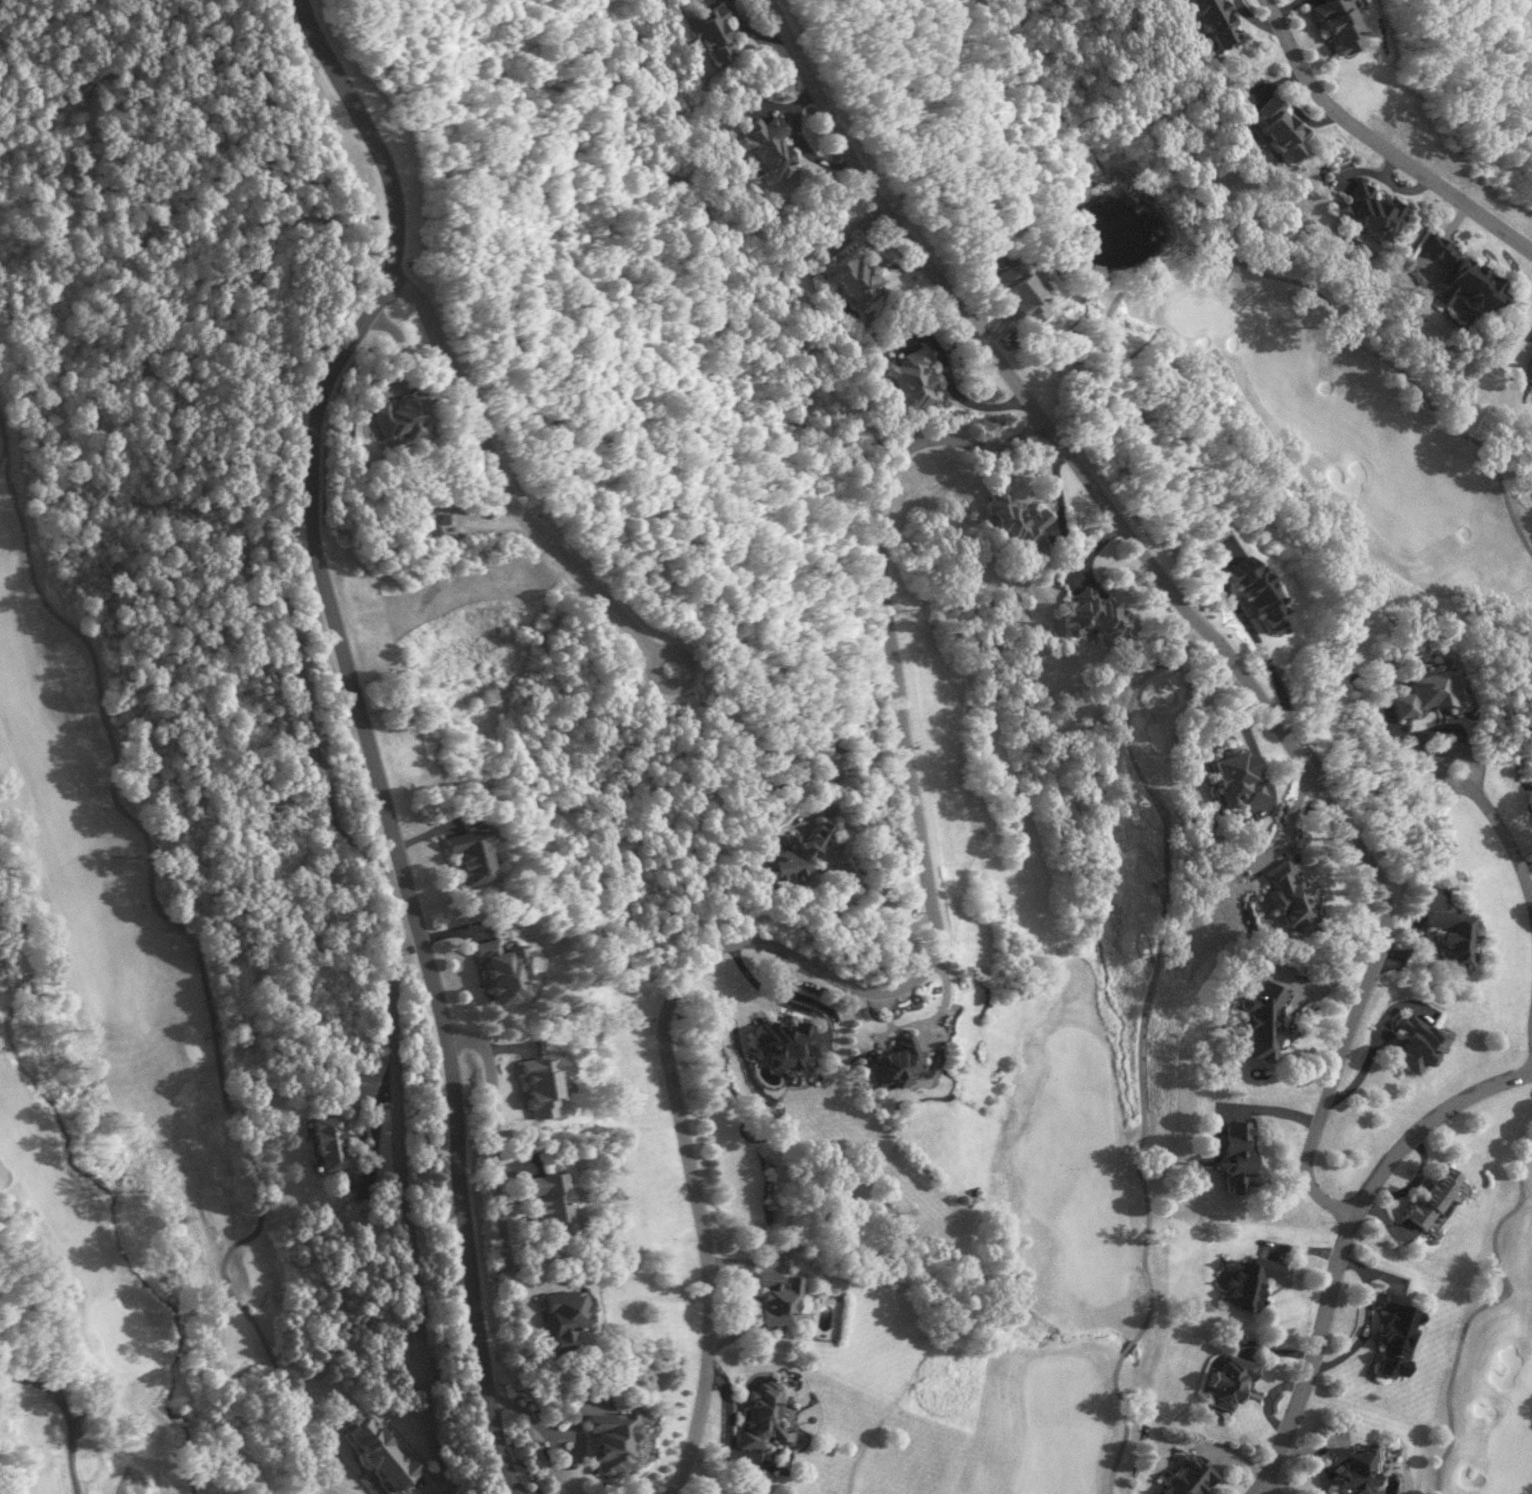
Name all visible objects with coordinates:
building: (1221, 23)
building: (1344, 27)
building: (714, 37)
building: (1281, 126)
road: (1381, 143)
building: (768, 150)
building: (1373, 208)
building: (856, 276)
building: (1461, 277)
building: (1023, 293)
building: (1530, 367)
building: (1531, 375)
building: (913, 378)
building: (405, 415)
road: (1075, 457)
road: (515, 484)
building: (449, 518)
building: (1019, 519)
building: (429, 531)
road: (1171, 547)
building: (1255, 593)
building: (1098, 615)
building: (1430, 693)
road: (364, 732)
building: (1235, 778)
road: (1288, 826)
road: (1504, 833)
park: (1177, 840)
road: (148, 849)
building: (794, 856)
building: (474, 857)
road: (1527, 866)
road: (1529, 883)
building: (1284, 892)
road: (877, 905)
road: (407, 907)
road: (403, 917)
building: (1449, 927)
building: (502, 971)
road: (873, 991)
building: (1261, 1018)
building: (786, 1041)
building: (1414, 1043)
building: (894, 1063)
park: (123, 1064)
road: (1338, 1072)
building: (543, 1087)
building: (335, 1142)
road: (487, 1144)
building: (1235, 1155)
building: (1433, 1201)
building: (553, 1202)
road: (1342, 1244)
building: (1247, 1278)
road: (742, 1295)
building: (769, 1298)
road: (1474, 1309)
building: (569, 1319)
road: (1362, 1322)
building: (1393, 1335)
road: (37, 1344)
park: (1493, 1349)
road: (276, 1369)
building: (1227, 1379)
building: (759, 1417)
road: (1126, 1424)
road: (433, 1426)
building: (614, 1442)
building: (387, 1454)
road: (66, 1466)
building: (1354, 1469)
building: (1185, 1474)
road: (1262, 1491)

